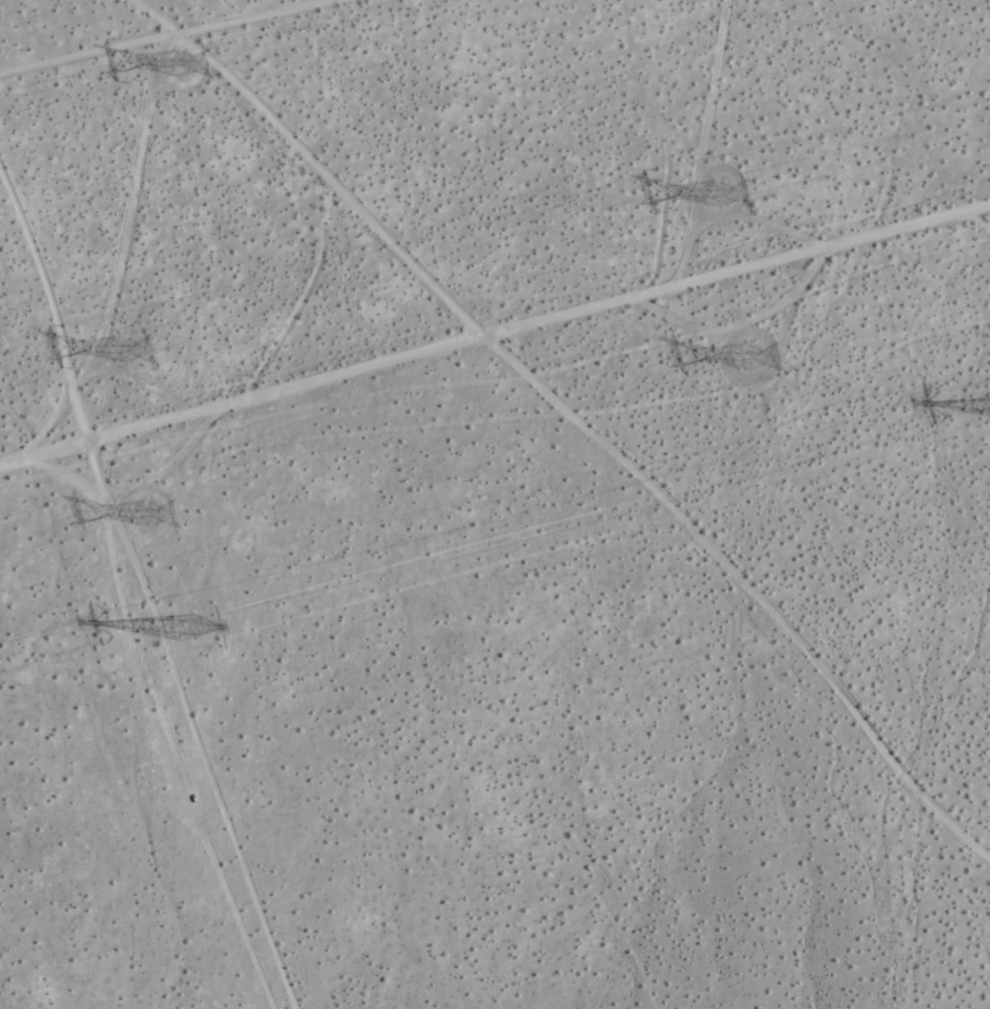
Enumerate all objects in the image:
power tower: (186, 65)
power tower: (717, 189)
road: (742, 267)
power tower: (125, 348)
power tower: (757, 354)
road: (247, 396)
power tower: (155, 516)
power tower: (194, 627)

